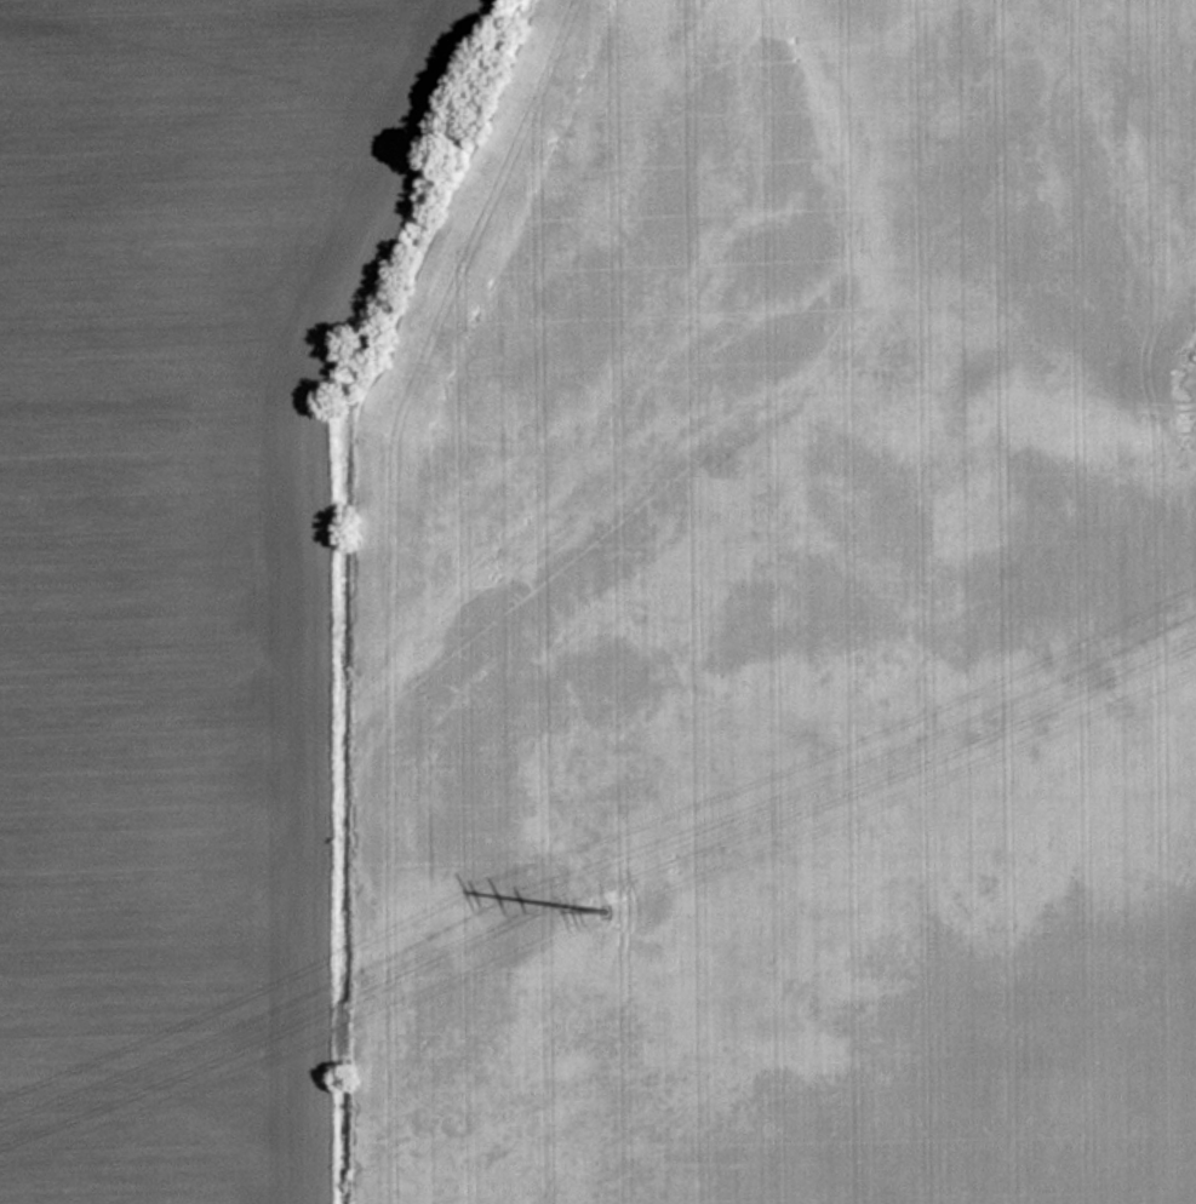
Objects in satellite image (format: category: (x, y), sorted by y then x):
power tower: (620, 915)

